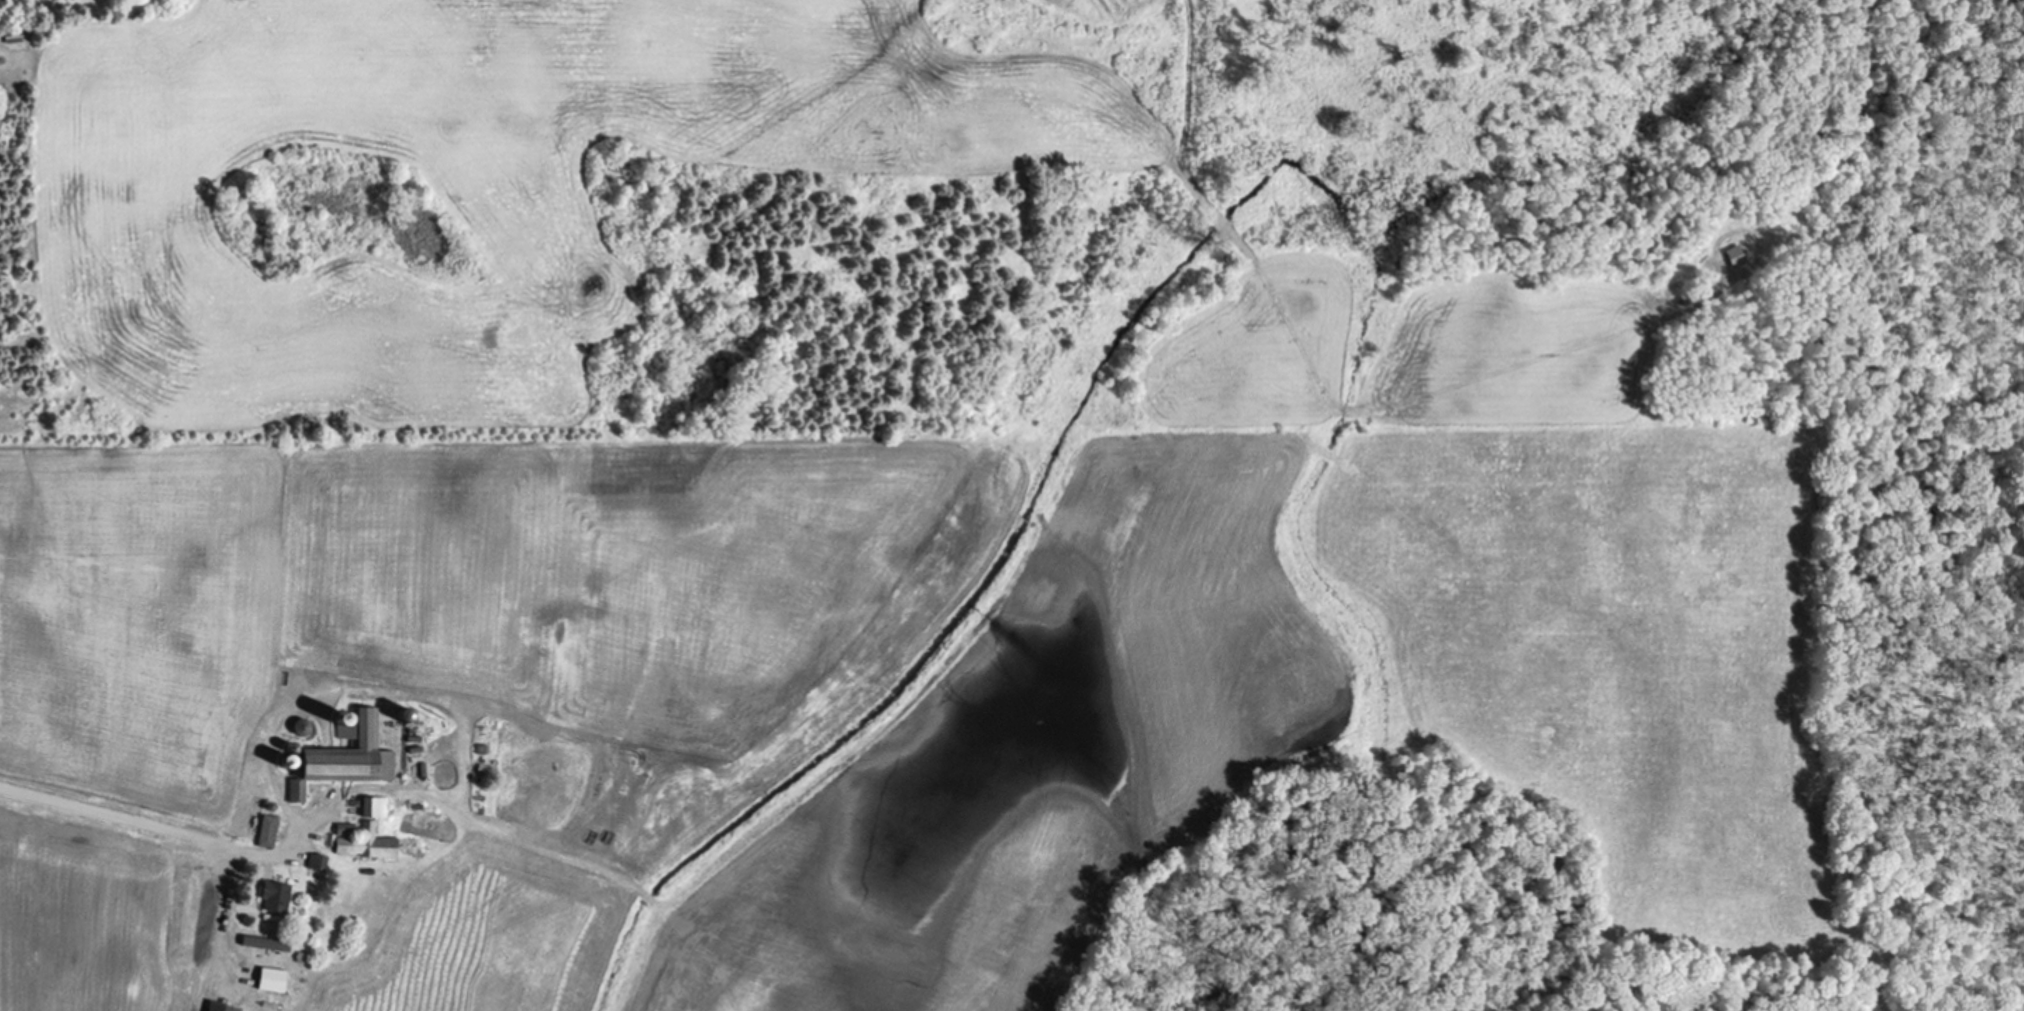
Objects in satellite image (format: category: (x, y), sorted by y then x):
building: (14, 35)
building: (1737, 256)
building: (349, 756)
building: (376, 808)
road: (145, 826)
building: (269, 832)
building: (365, 842)
building: (319, 863)
building: (278, 897)
road: (221, 931)
building: (267, 944)
building: (274, 980)
building: (221, 1007)

